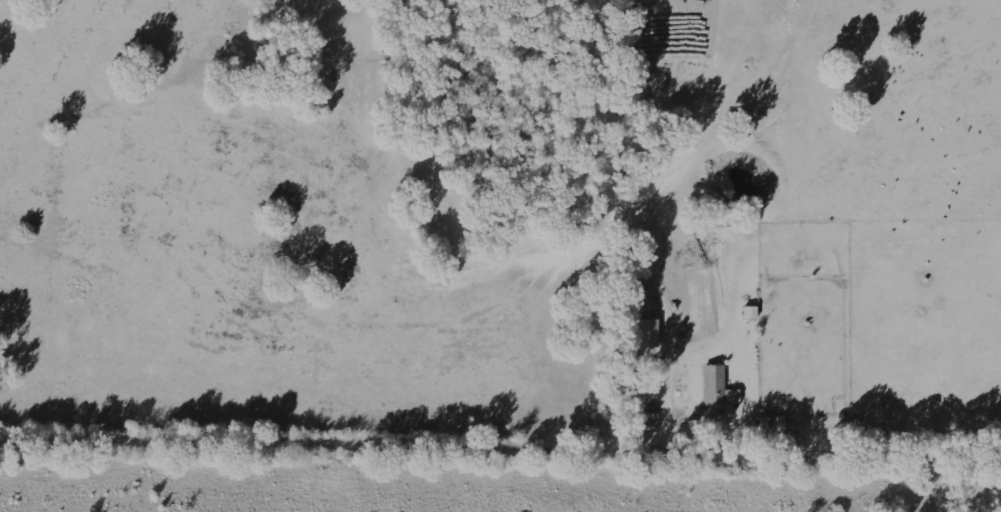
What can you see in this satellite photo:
building: (721, 388)

